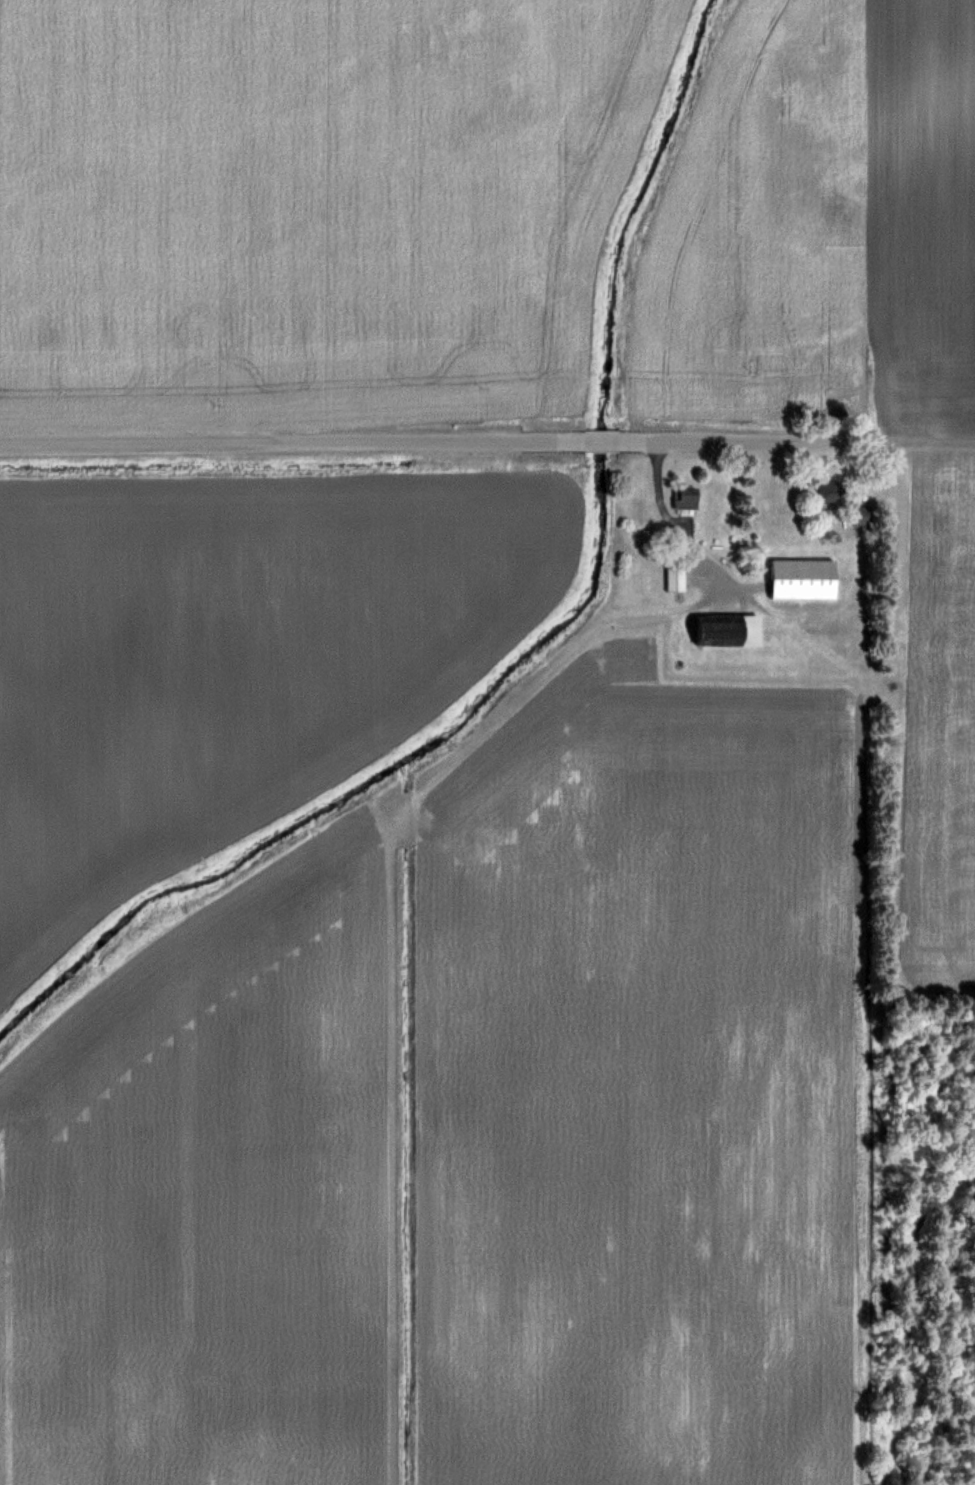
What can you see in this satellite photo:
road: (487, 442)
building: (831, 492)
building: (685, 497)
building: (860, 514)
building: (675, 574)
building: (803, 579)
building: (728, 630)

